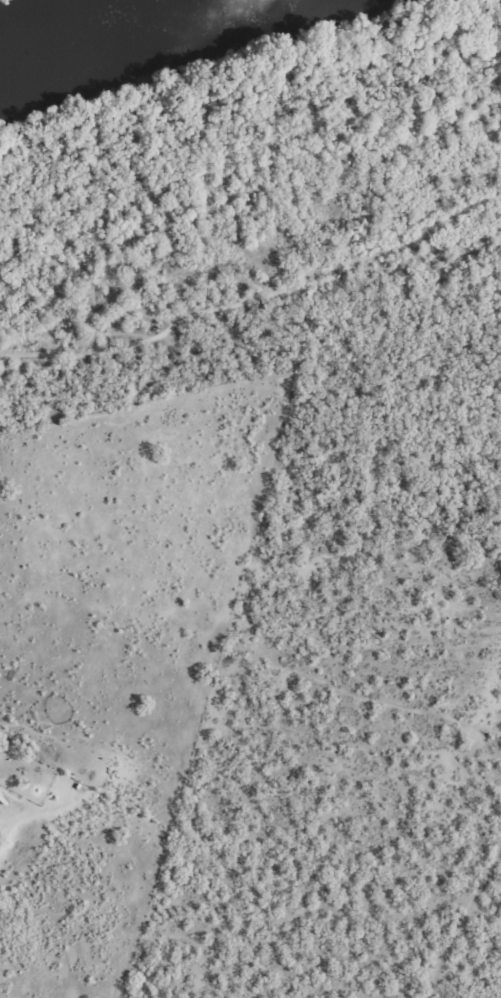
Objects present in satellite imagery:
river: (35, 16)

